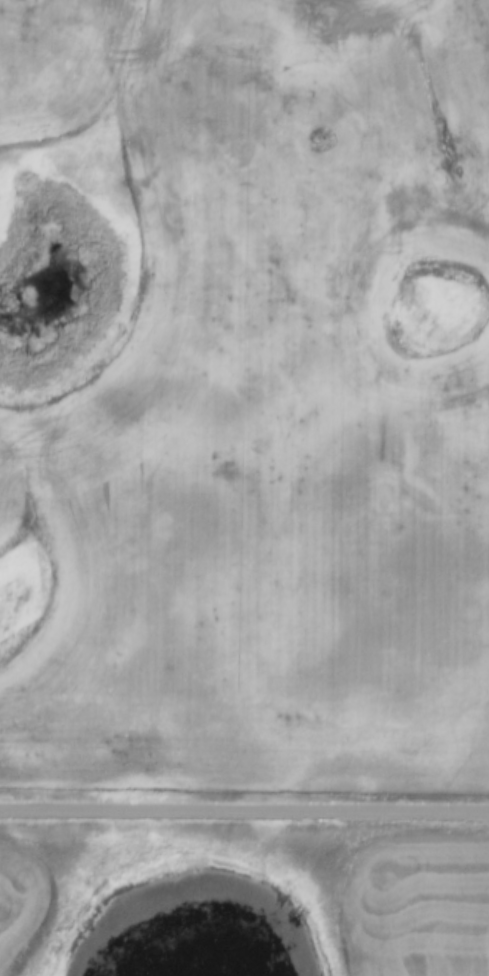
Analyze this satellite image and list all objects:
road: (244, 814)

